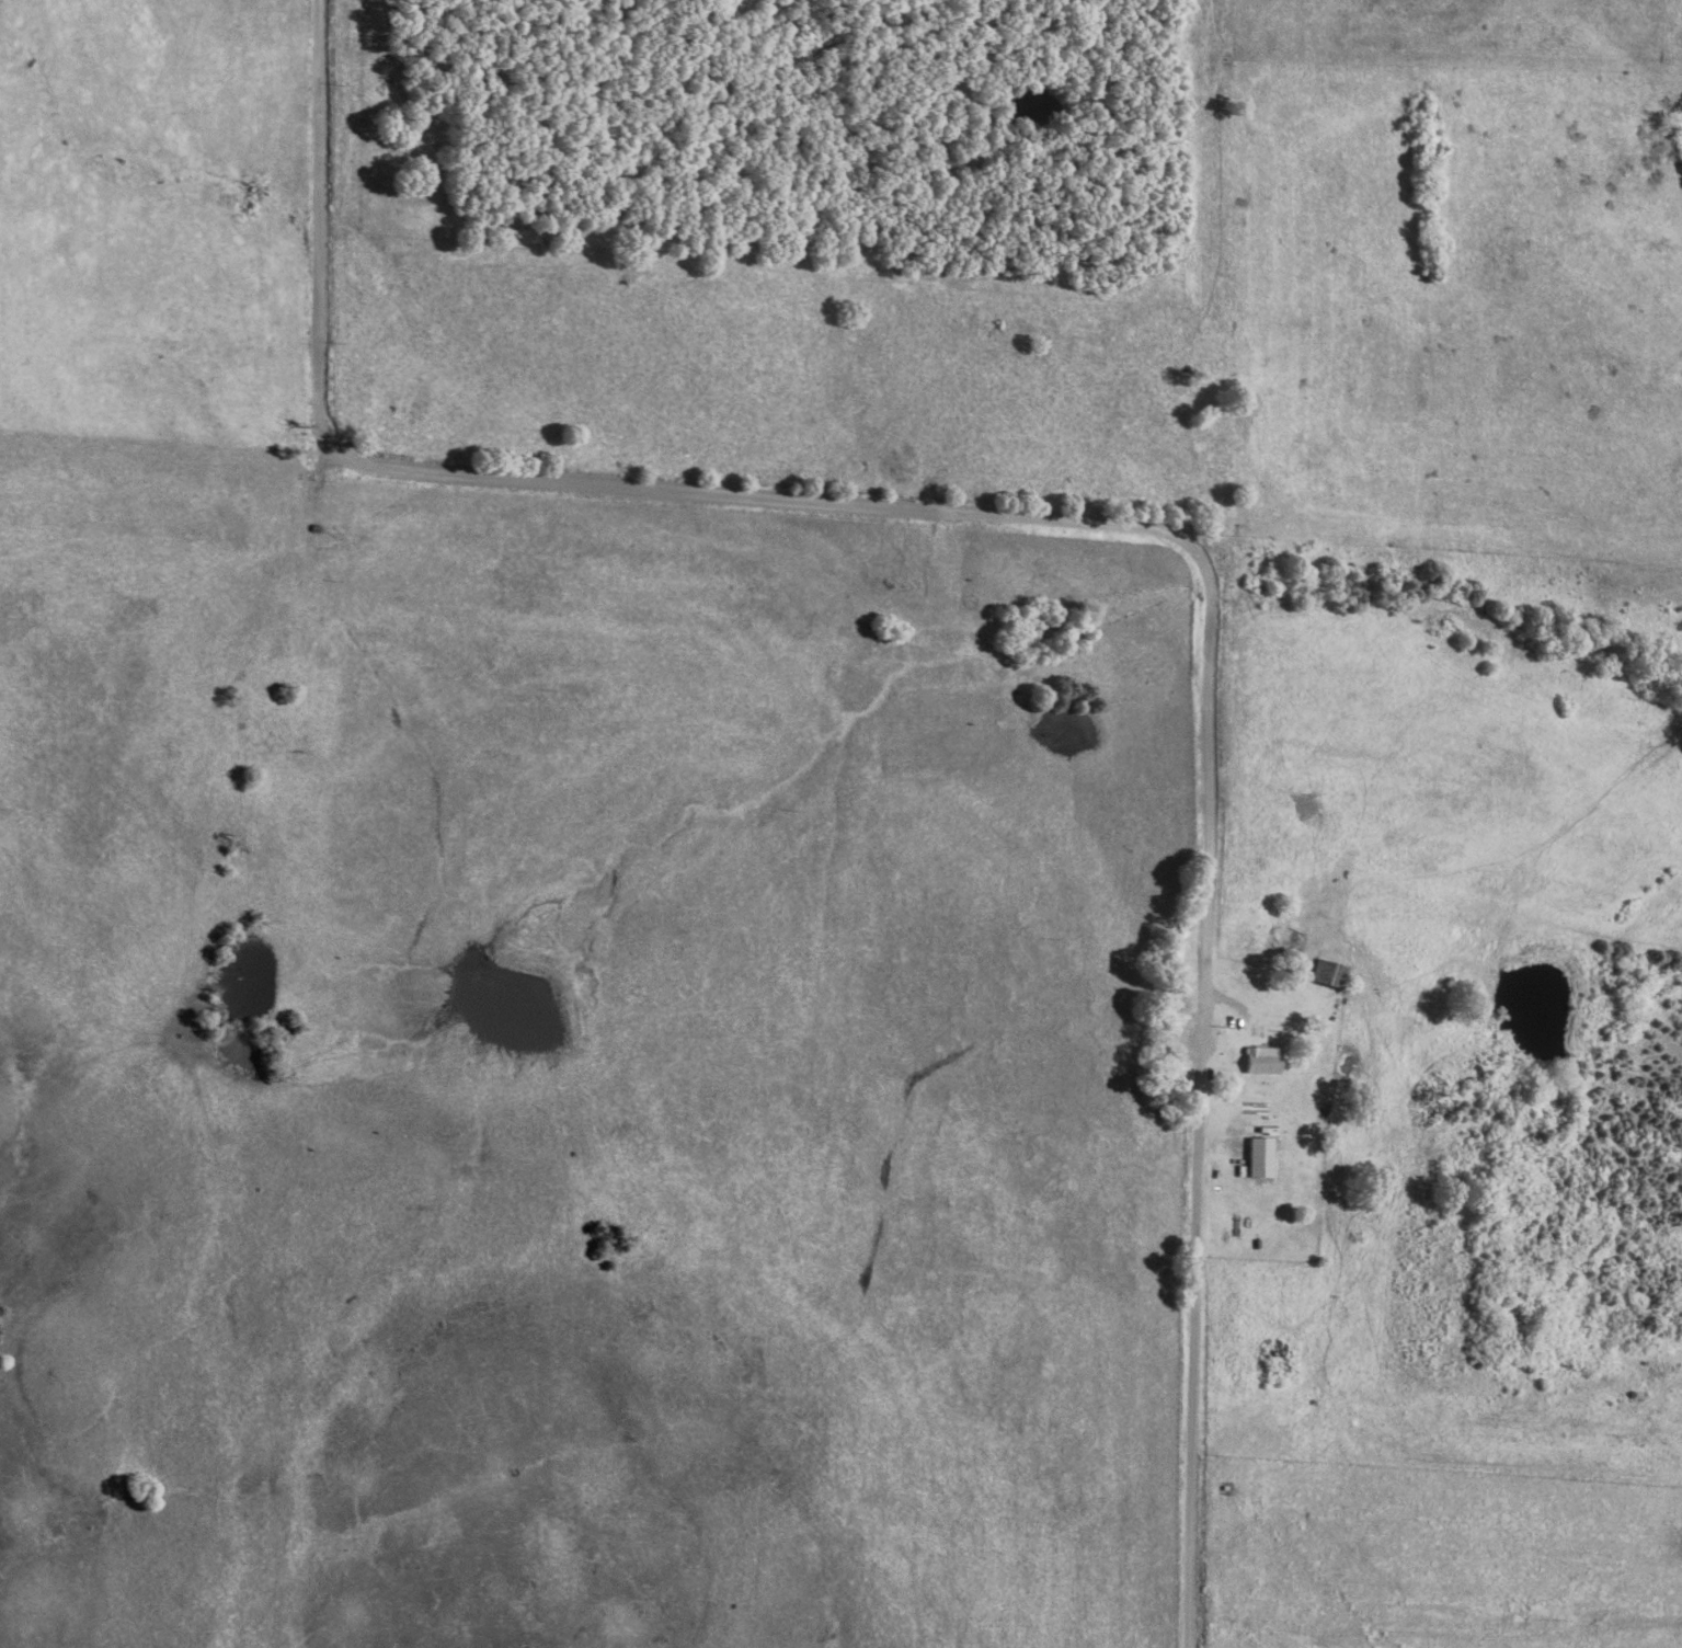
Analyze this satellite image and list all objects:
road: (1679, 2)
road: (1087, 523)
building: (1327, 973)
building: (1261, 1060)
building: (1261, 1157)

